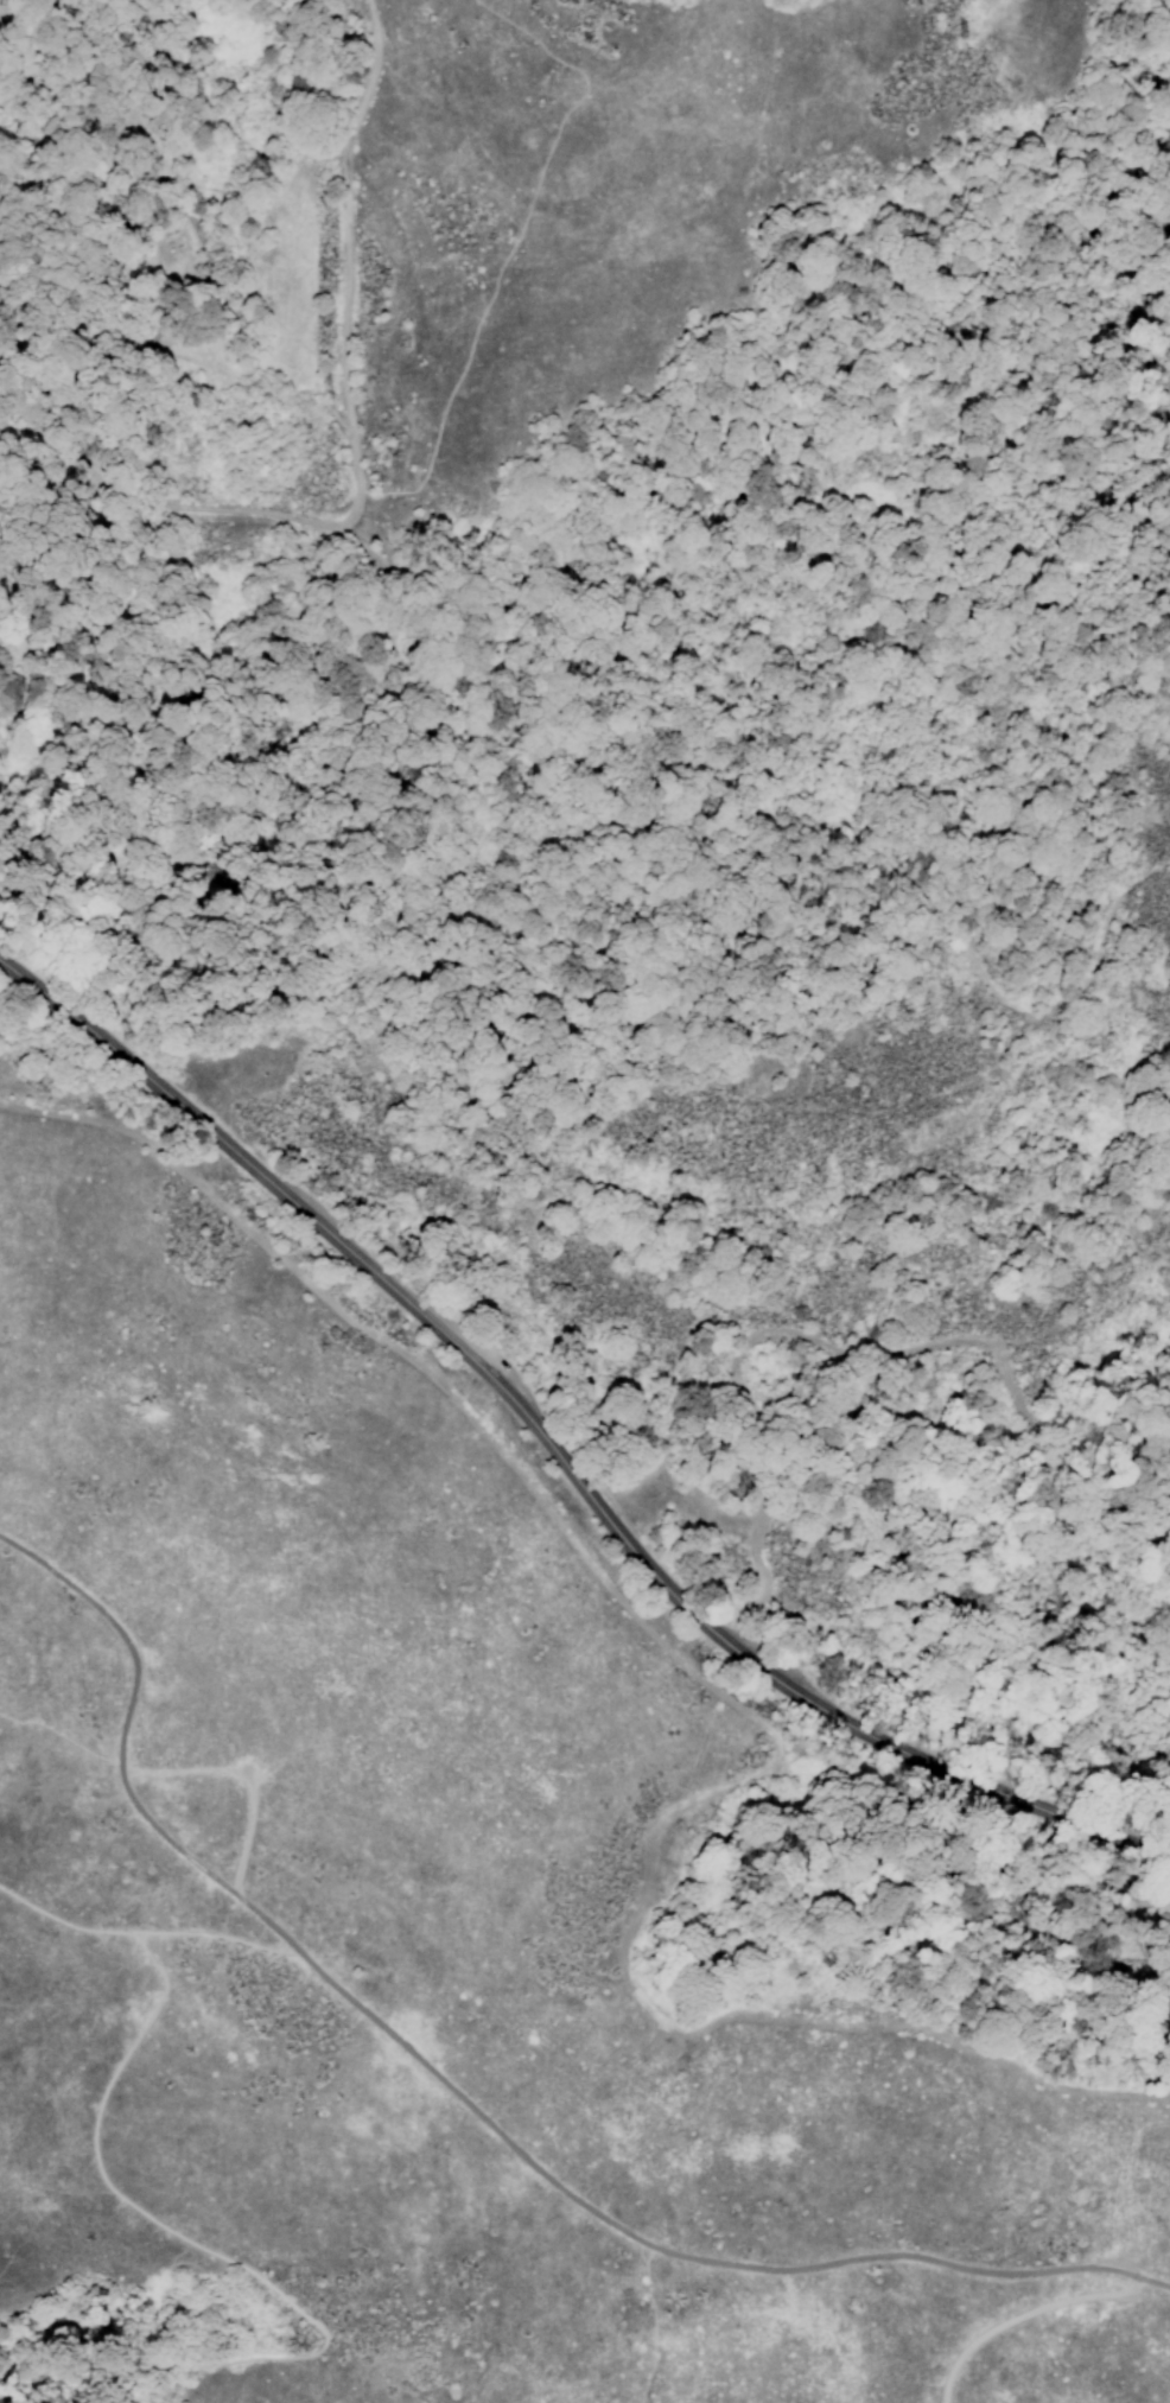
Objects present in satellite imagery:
road: (509, 247)
road: (343, 258)
road: (170, 509)
road: (751, 826)
road: (557, 1457)
road: (123, 1747)
road: (257, 1768)
road: (146, 1930)
road: (637, 2239)
road: (204, 2251)
road: (1125, 2275)
road: (1019, 2315)
road: (649, 2323)

